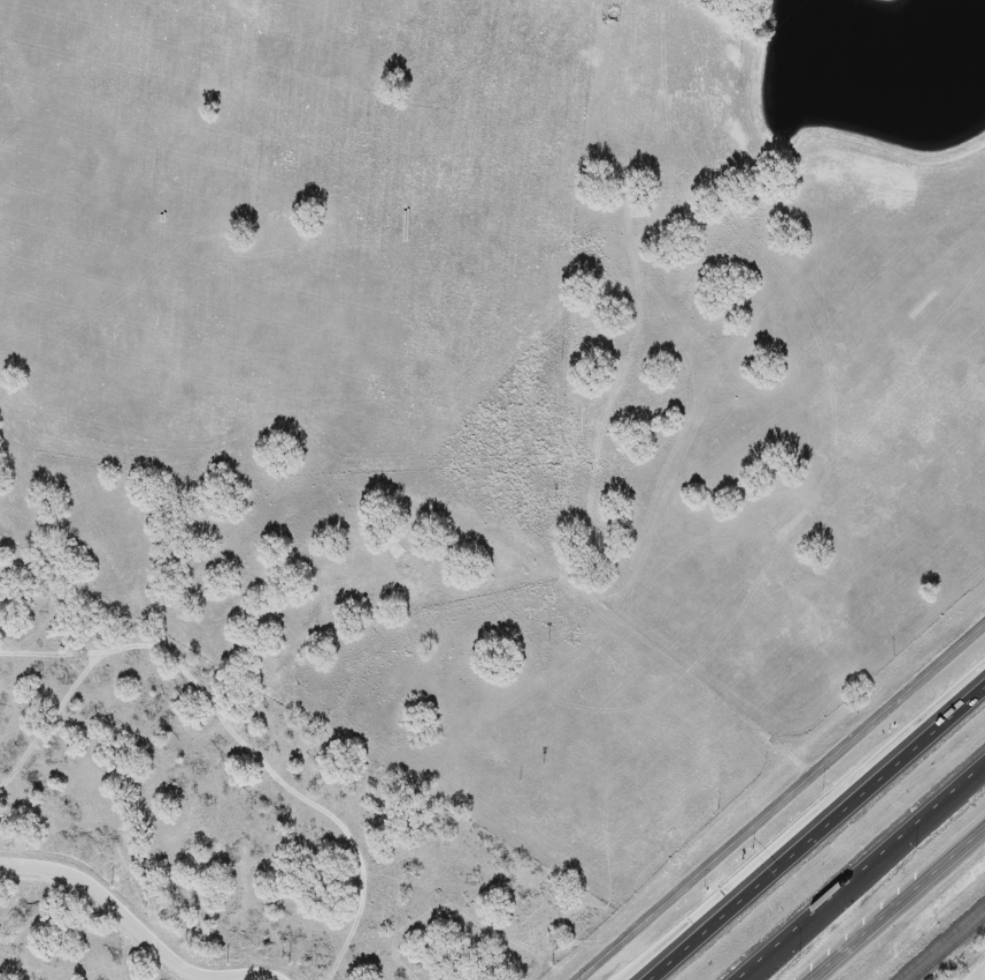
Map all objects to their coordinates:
road: (635, 292)
road: (661, 651)
road: (245, 746)
road: (782, 802)
road: (932, 809)
road: (817, 833)
road: (896, 903)
road: (808, 917)
railway: (940, 941)
railway: (949, 948)

